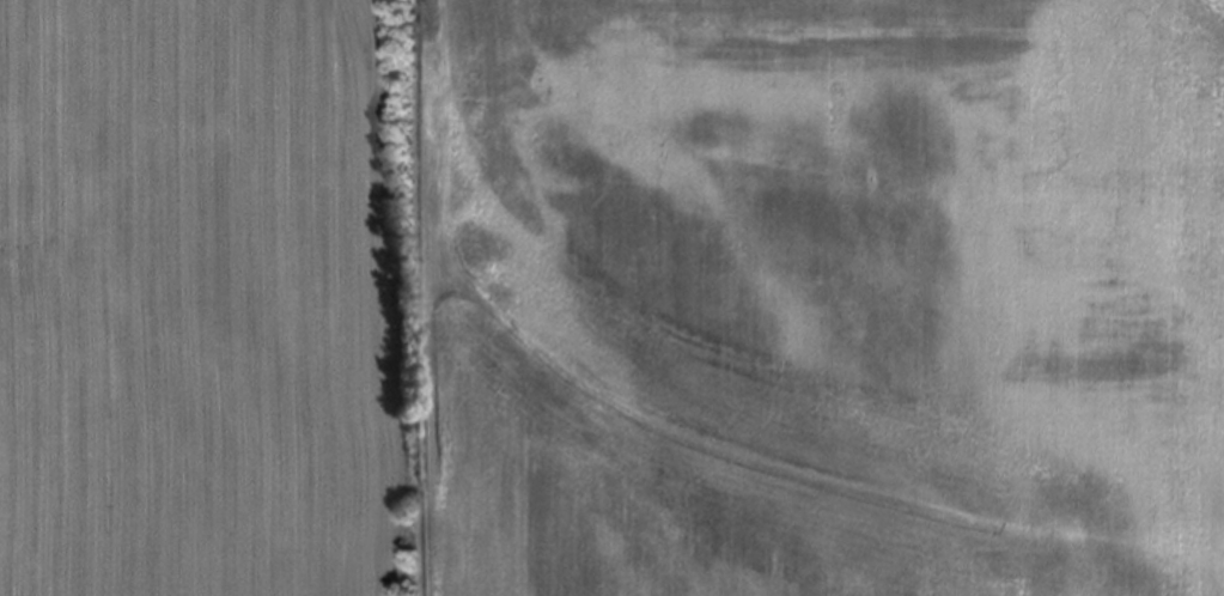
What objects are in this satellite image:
airport: (828, 297)

